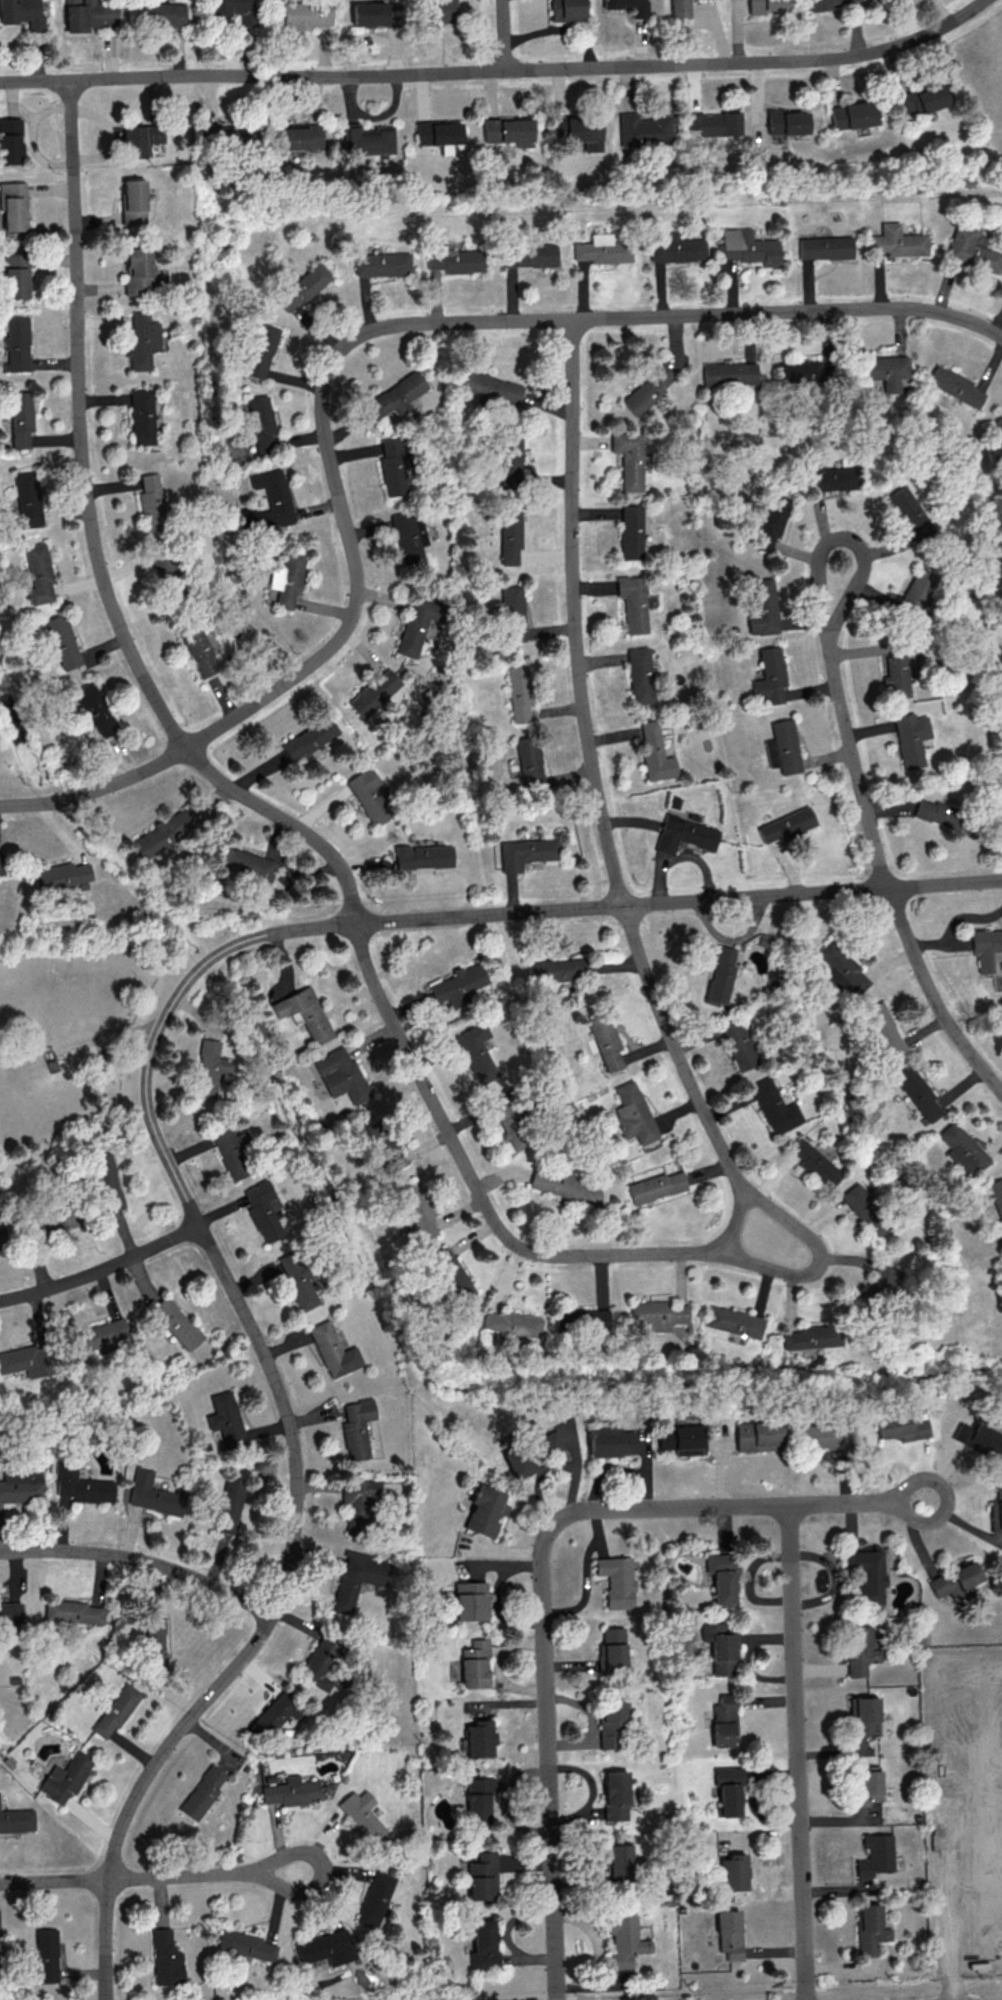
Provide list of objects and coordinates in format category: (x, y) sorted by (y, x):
building: (823, 4)
building: (768, 6)
building: (679, 8)
building: (235, 9)
building: (565, 10)
building: (439, 11)
building: (21, 13)
building: (373, 13)
building: (88, 14)
building: (162, 14)
building: (305, 14)
road: (503, 35)
road: (501, 70)
building: (921, 99)
building: (853, 115)
building: (787, 122)
building: (715, 123)
building: (644, 129)
building: (579, 130)
building: (508, 131)
building: (227, 134)
building: (438, 134)
building: (297, 137)
building: (9, 139)
building: (140, 139)
building: (368, 139)
building: (133, 201)
building: (13, 206)
building: (897, 242)
building: (749, 247)
building: (825, 247)
building: (677, 248)
building: (602, 249)
building: (972, 251)
building: (529, 255)
building: (455, 260)
building: (381, 264)
building: (136, 269)
building: (15, 275)
building: (302, 287)
building: (141, 340)
building: (15, 344)
building: (260, 350)
road: (337, 357)
building: (800, 370)
building: (886, 370)
building: (729, 373)
building: (955, 385)
building: (492, 387)
building: (648, 389)
building: (398, 394)
building: (141, 416)
building: (20, 418)
building: (261, 422)
building: (998, 422)
road: (79, 425)
building: (510, 457)
building: (629, 457)
building: (394, 467)
building: (832, 478)
building: (27, 499)
building: (270, 499)
building: (150, 503)
building: (910, 510)
building: (772, 520)
building: (631, 531)
building: (409, 534)
building: (510, 536)
building: (164, 563)
building: (38, 574)
building: (285, 582)
building: (918, 589)
building: (633, 603)
building: (763, 606)
building: (513, 613)
building: (417, 625)
building: (62, 641)
building: (198, 650)
building: (896, 673)
building: (640, 675)
building: (769, 677)
building: (374, 692)
building: (519, 693)
building: (95, 709)
road: (843, 711)
building: (308, 738)
building: (911, 738)
building: (783, 747)
building: (654, 753)
building: (529, 761)
road: (596, 784)
building: (370, 795)
building: (939, 814)
road: (289, 822)
building: (786, 825)
building: (166, 831)
building: (684, 834)
building: (526, 852)
building: (423, 856)
building: (246, 862)
building: (1, 864)
building: (61, 875)
road: (678, 900)
building: (987, 953)
building: (841, 967)
building: (558, 969)
building: (722, 974)
building: (458, 984)
road: (933, 995)
building: (304, 1013)
building: (884, 1029)
building: (606, 1042)
building: (739, 1044)
building: (476, 1052)
building: (85, 1054)
building: (209, 1065)
building: (340, 1075)
building: (919, 1093)
building: (775, 1107)
building: (633, 1113)
building: (509, 1120)
building: (384, 1144)
building: (231, 1150)
building: (963, 1150)
building: (815, 1163)
building: (106, 1181)
building: (655, 1186)
road: (480, 1191)
building: (997, 1202)
building: (861, 1203)
building: (263, 1210)
building: (416, 1213)
building: (0, 1242)
road: (814, 1265)
road: (101, 1269)
building: (451, 1274)
building: (297, 1280)
building: (880, 1281)
building: (659, 1314)
building: (581, 1319)
building: (734, 1321)
building: (176, 1322)
building: (511, 1323)
building: (99, 1334)
building: (813, 1336)
building: (333, 1350)
building: (25, 1360)
road: (286, 1406)
building: (225, 1419)
building: (356, 1427)
building: (757, 1435)
building: (821, 1436)
building: (976, 1438)
building: (681, 1439)
building: (611, 1441)
building: (533, 1450)
building: (81, 1484)
building: (21, 1486)
building: (154, 1494)
building: (357, 1504)
building: (230, 1505)
road: (730, 1505)
building: (485, 1510)
building: (995, 1510)
road: (142, 1560)
building: (867, 1575)
building: (722, 1577)
building: (358, 1578)
building: (616, 1580)
building: (955, 1581)
building: (471, 1600)
building: (73, 1612)
building: (10, 1613)
building: (154, 1643)
building: (720, 1647)
building: (858, 1649)
building: (611, 1650)
building: (319, 1663)
building: (475, 1664)
building: (116, 1710)
building: (274, 1716)
building: (866, 1716)
building: (724, 1720)
building: (612, 1723)
building: (480, 1738)
road: (797, 1752)
road: (550, 1768)
building: (66, 1777)
building: (728, 1790)
building: (293, 1791)
building: (204, 1792)
building: (615, 1795)
building: (479, 1799)
building: (363, 1815)
building: (17, 1820)
building: (875, 1855)
building: (618, 1861)
road: (324, 1871)
building: (733, 1872)
building: (482, 1877)
road: (127, 1878)
building: (376, 1899)
building: (870, 1929)
building: (729, 1934)
building: (624, 1939)
building: (246, 1944)
building: (484, 1946)
building: (327, 1948)
building: (46, 1955)
building: (166, 1958)
road: (738, 1990)

